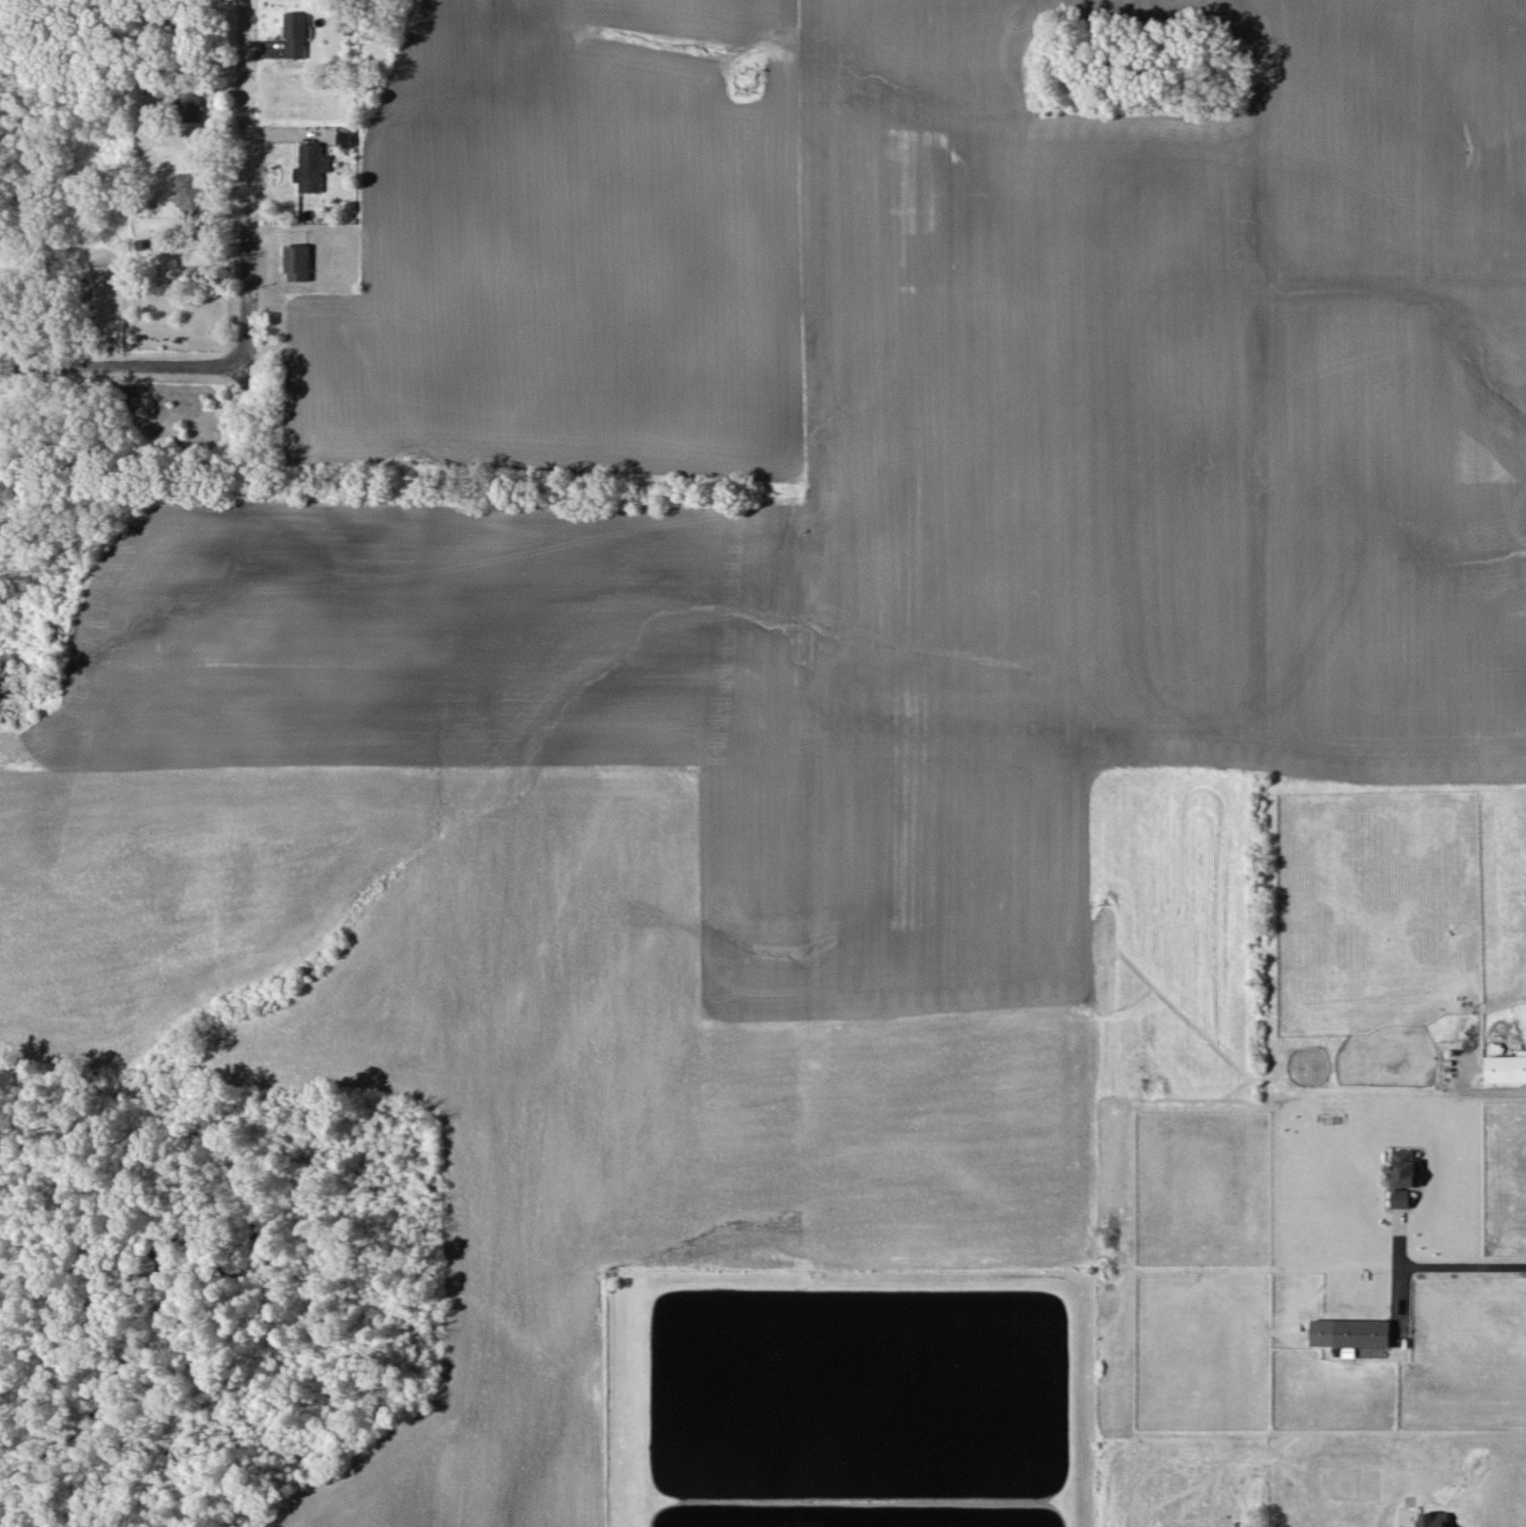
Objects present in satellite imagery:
building: (296, 34)
building: (191, 107)
building: (344, 139)
building: (311, 167)
road: (240, 184)
building: (191, 192)
building: (298, 262)
road: (120, 371)
building: (1506, 1068)
building: (1404, 1176)
road: (1463, 1261)
building: (1349, 1334)
building: (1434, 1519)

